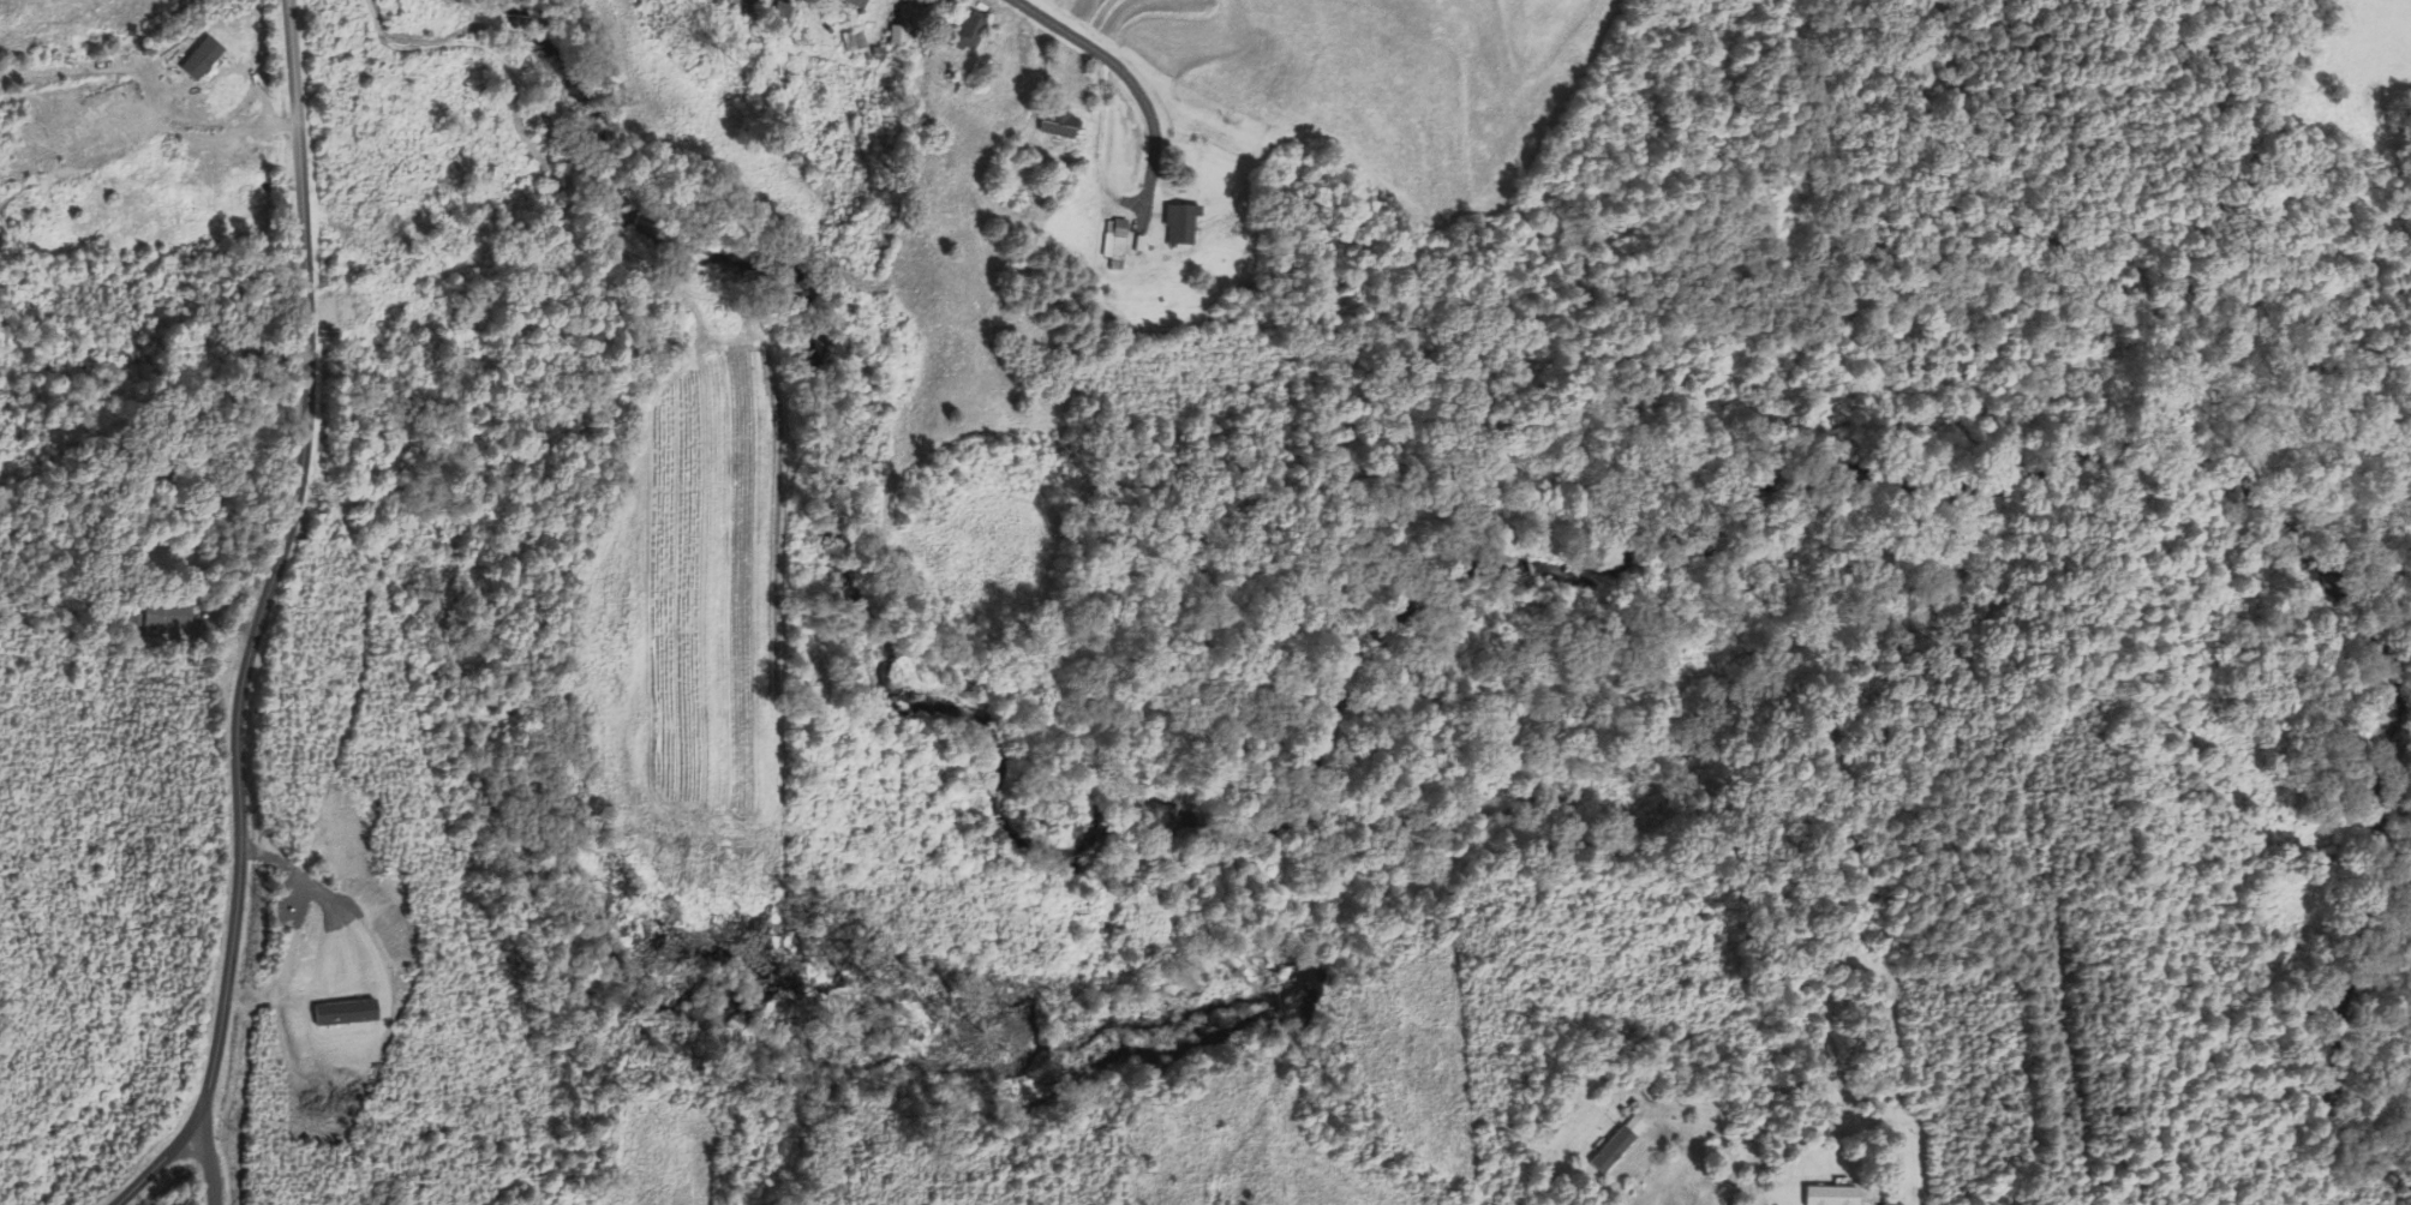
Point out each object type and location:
building: (846, 0)
building: (746, 4)
building: (782, 14)
building: (970, 31)
building: (896, 35)
building: (852, 40)
road: (1123, 73)
building: (1058, 122)
building: (1178, 224)
building: (1113, 239)
road: (275, 565)
building: (163, 617)
building: (1611, 1149)
road: (210, 1162)
road: (155, 1167)
road: (1706, 1170)
building: (1830, 1195)

